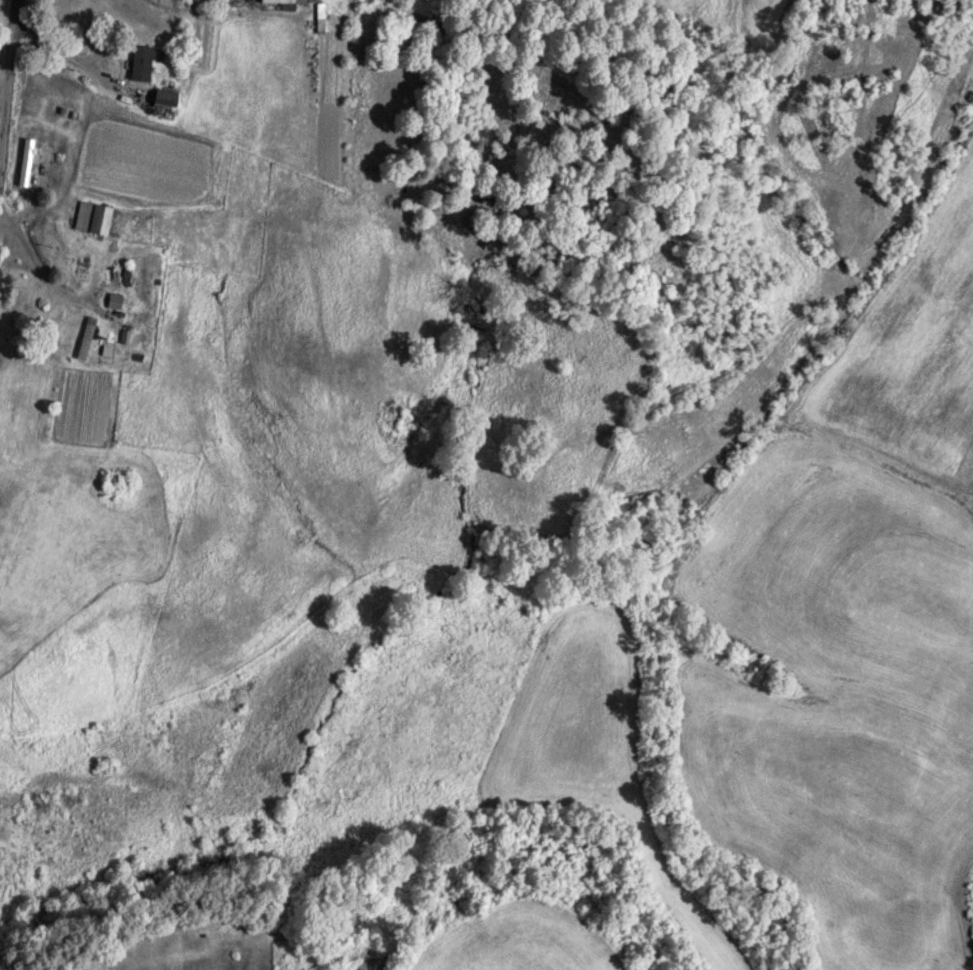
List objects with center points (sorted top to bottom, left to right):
building: (273, 1)
building: (131, 69)
road: (7, 81)
building: (25, 161)
building: (89, 218)
building: (81, 341)

